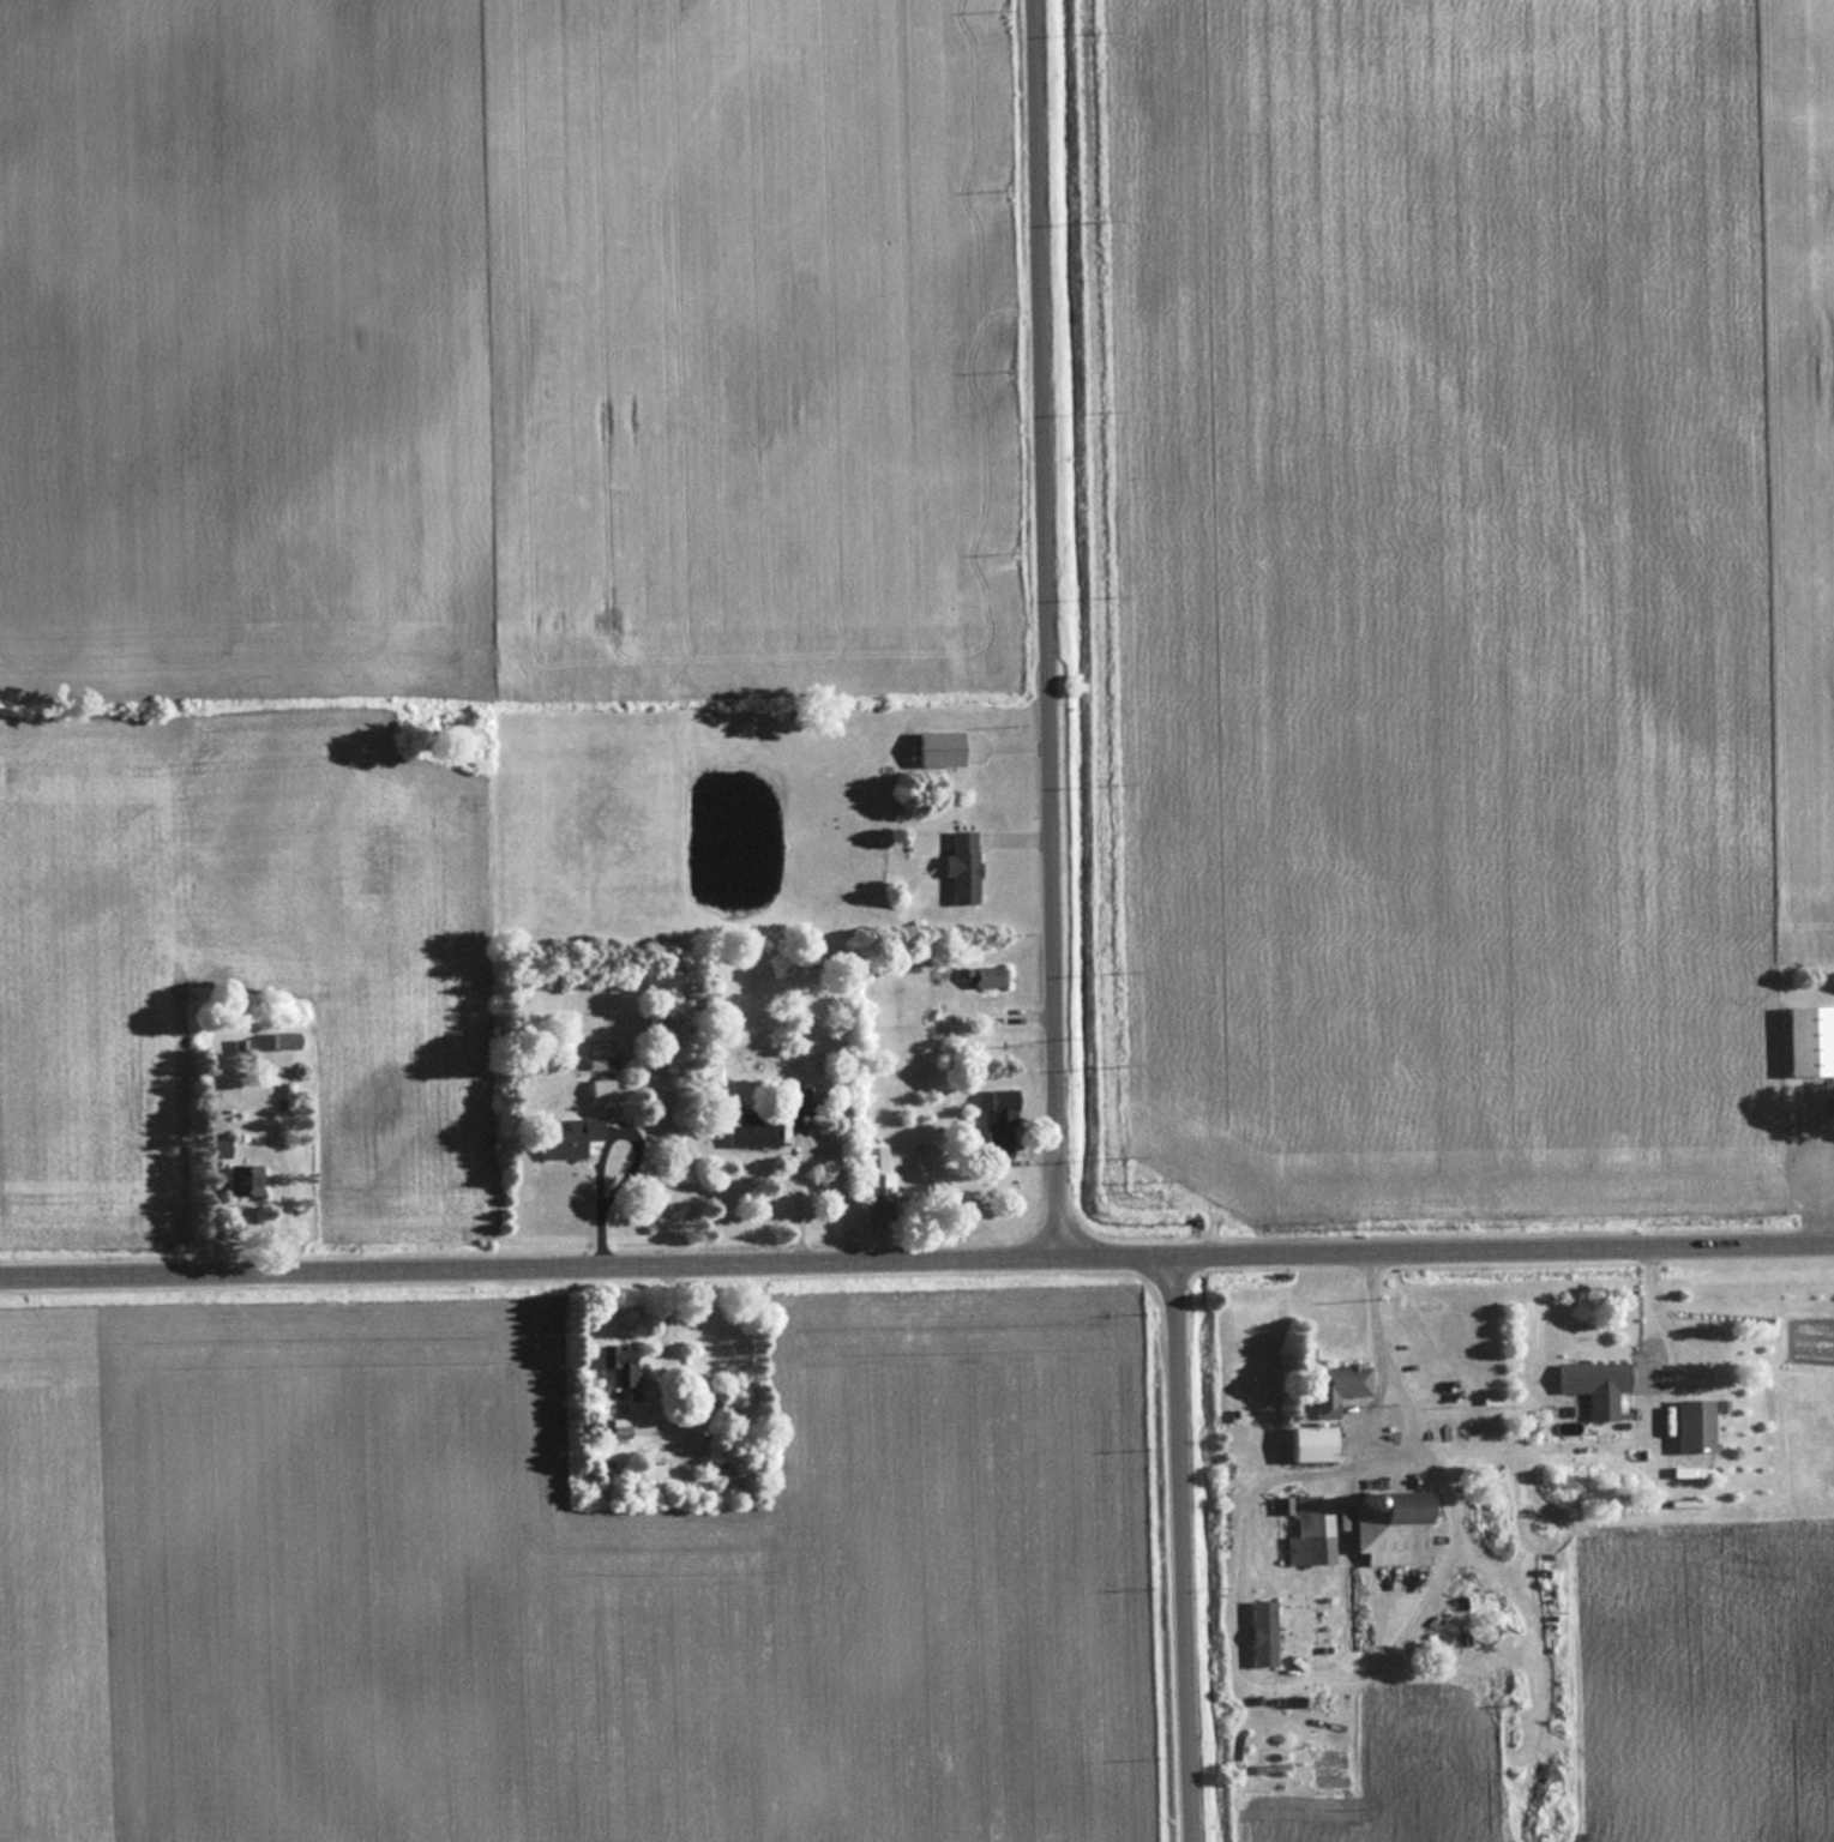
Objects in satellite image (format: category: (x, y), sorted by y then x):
road: (1047, 628)
building: (936, 748)
building: (958, 866)
building: (981, 976)
building: (1805, 1041)
building: (600, 1090)
building: (288, 1091)
building: (795, 1103)
building: (994, 1116)
building: (748, 1131)
building: (569, 1137)
building: (216, 1149)
road: (1818, 1164)
building: (241, 1181)
building: (873, 1181)
road: (916, 1259)
road: (1648, 1325)
building: (615, 1364)
building: (1591, 1384)
building: (1335, 1386)
building: (1689, 1425)
building: (1305, 1444)
road: (1367, 1449)
building: (1304, 1528)
building: (1383, 1528)
road: (1179, 1548)

